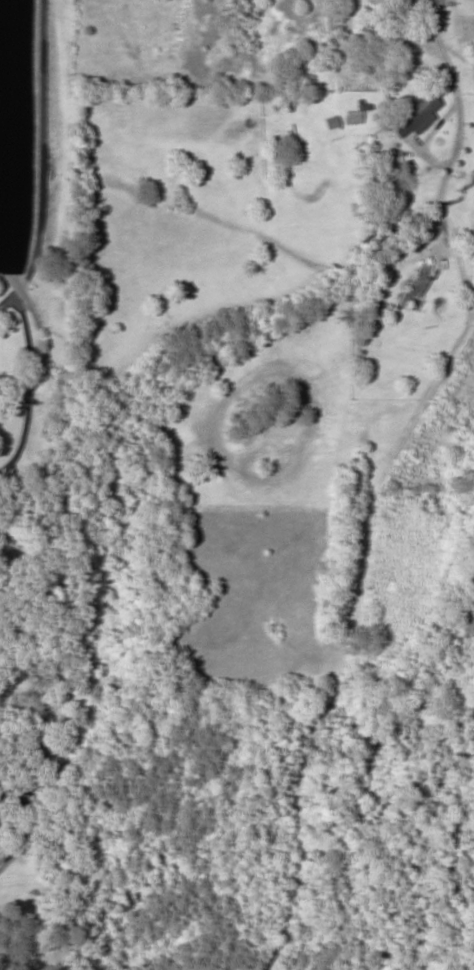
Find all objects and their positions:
building: (327, 21)
building: (472, 48)
building: (414, 114)
building: (352, 116)
road: (51, 186)
building: (414, 285)
building: (376, 304)
building: (12, 792)

